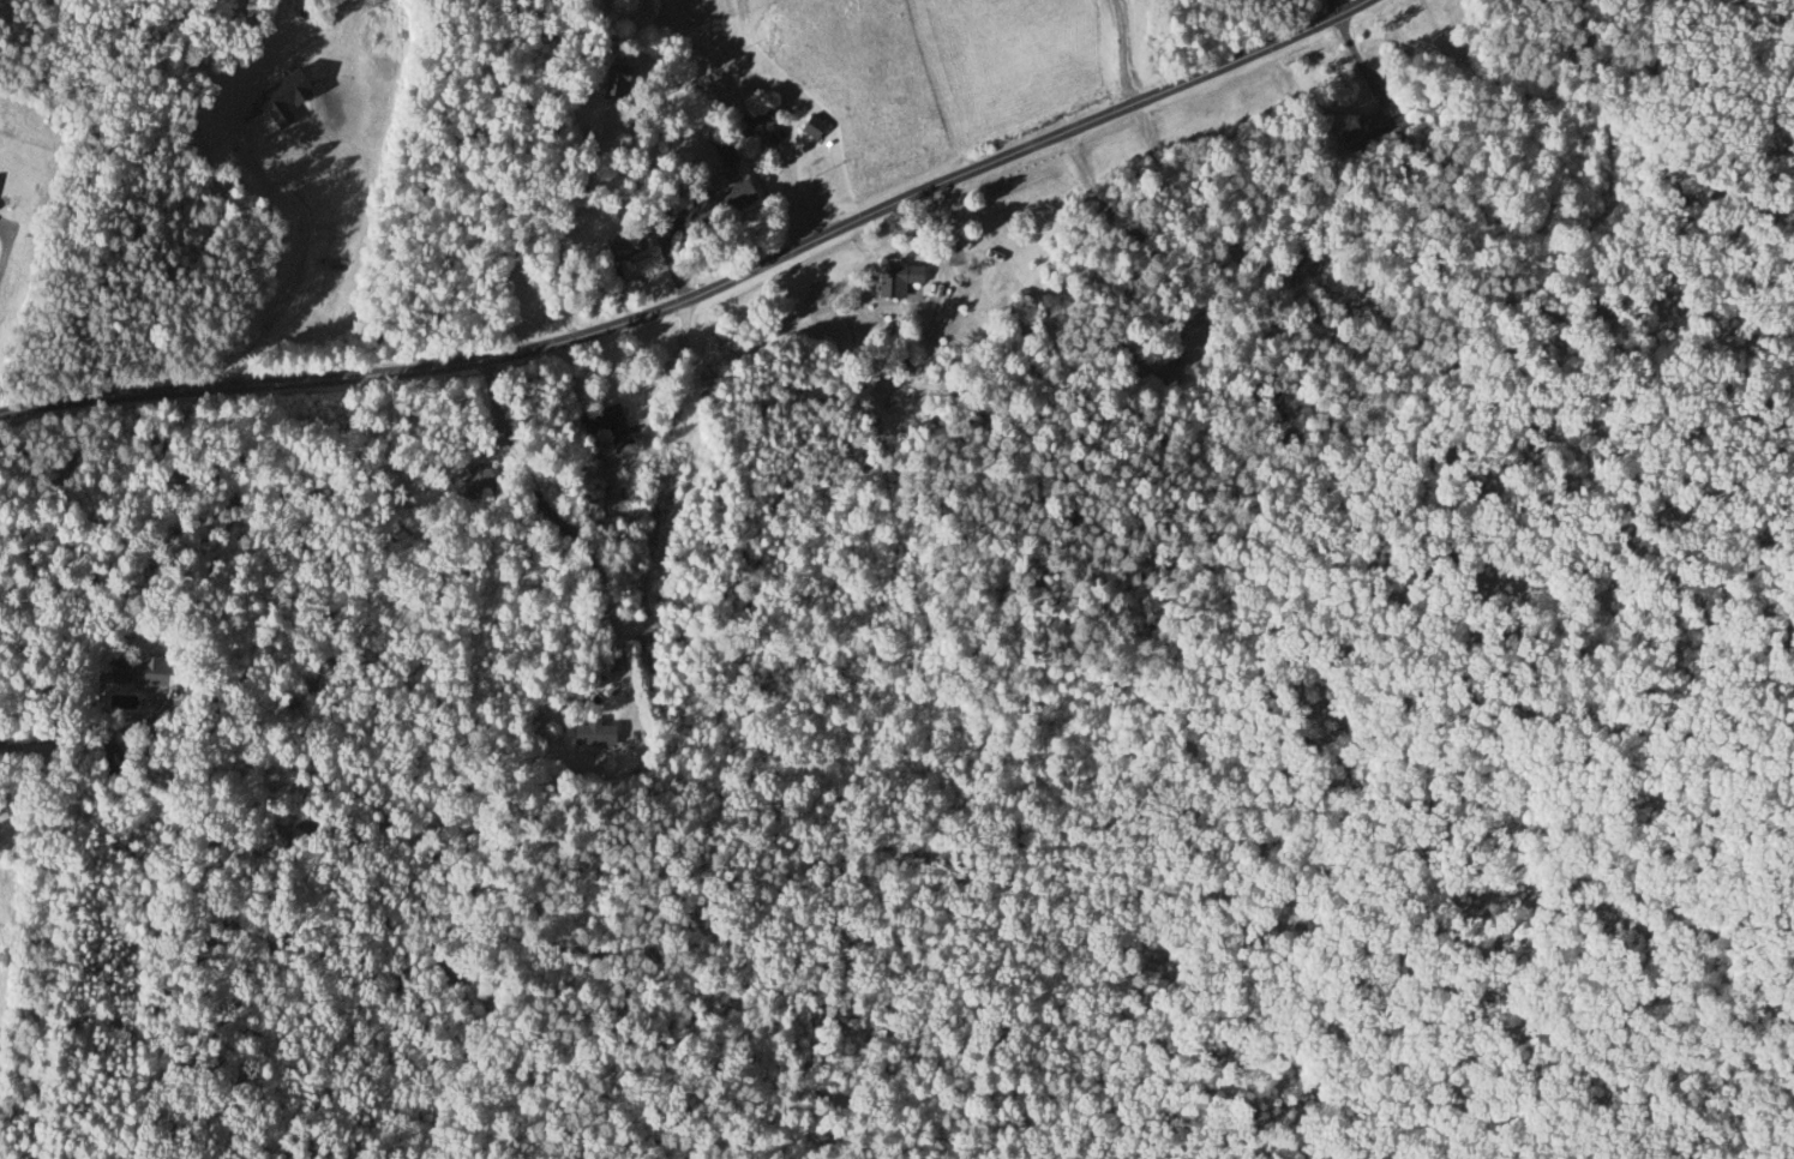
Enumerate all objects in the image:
road: (1337, 7)
road: (1122, 53)
building: (611, 85)
building: (752, 121)
building: (1369, 128)
building: (809, 130)
building: (722, 154)
building: (11, 196)
building: (715, 206)
road: (565, 227)
road: (0, 230)
building: (622, 246)
building: (1300, 269)
building: (894, 282)
road: (707, 292)
building: (1163, 361)
building: (602, 427)
building: (474, 481)
road: (571, 534)
building: (144, 677)
road: (86, 728)
building: (590, 735)

